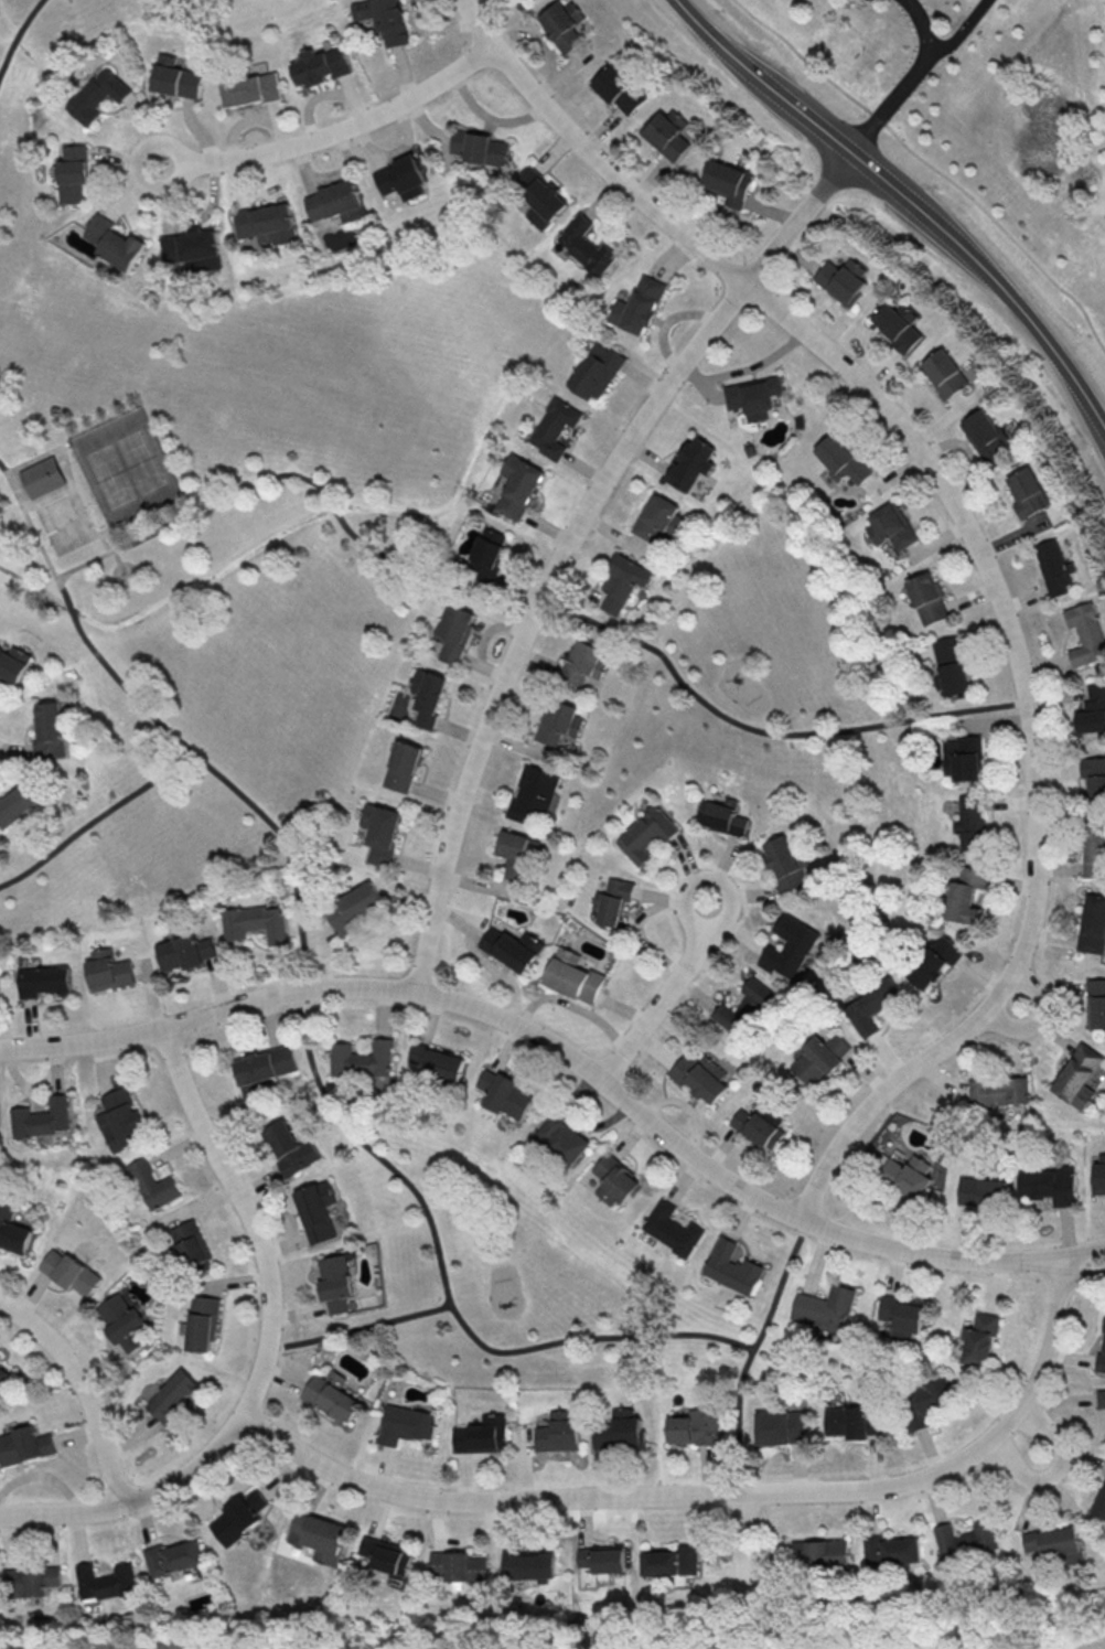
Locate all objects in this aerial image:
parking lot: (872, 0)
building: (384, 18)
building: (561, 24)
road: (958, 30)
road: (19, 35)
building: (322, 68)
road: (905, 79)
building: (176, 81)
building: (248, 89)
building: (619, 92)
building: (98, 95)
road: (333, 132)
building: (667, 133)
building: (481, 150)
road: (930, 164)
building: (73, 172)
building: (403, 181)
building: (728, 184)
building: (539, 196)
road: (904, 199)
building: (336, 205)
building: (267, 223)
building: (114, 242)
building: (584, 245)
building: (192, 251)
building: (844, 281)
building: (637, 306)
building: (899, 326)
building: (596, 371)
building: (946, 373)
building: (754, 398)
building: (555, 427)
building: (988, 440)
building: (844, 461)
building: (691, 465)
park: (131, 473)
building: (47, 481)
building: (519, 488)
building: (1030, 494)
building: (659, 520)
building: (893, 526)
park: (72, 534)
road: (571, 540)
road: (110, 545)
road: (981, 549)
building: (489, 553)
road: (127, 561)
building: (1056, 570)
building: (623, 581)
building: (929, 601)
road: (530, 608)
building: (454, 632)
building: (1087, 635)
building: (13, 663)
building: (584, 665)
building: (952, 666)
park: (387, 682)
building: (428, 696)
building: (1094, 713)
building: (558, 721)
building: (50, 731)
building: (963, 758)
building: (403, 765)
building: (1095, 782)
building: (533, 792)
building: (18, 803)
building: (721, 816)
road: (95, 817)
building: (970, 826)
building: (380, 832)
building: (644, 834)
building: (1095, 848)
building: (516, 854)
building: (785, 868)
building: (965, 895)
building: (611, 900)
building: (354, 907)
building: (256, 922)
building: (1094, 929)
building: (512, 947)
building: (788, 947)
building: (184, 952)
building: (934, 961)
building: (108, 970)
building: (572, 976)
building: (43, 981)
road: (665, 994)
building: (1097, 1003)
building: (870, 1005)
building: (743, 1008)
road: (302, 1016)
road: (1037, 1017)
road: (550, 1041)
building: (818, 1057)
building: (363, 1059)
building: (439, 1061)
building: (266, 1064)
building: (700, 1075)
building: (1079, 1075)
building: (998, 1091)
building: (505, 1093)
building: (41, 1117)
building: (119, 1120)
building: (760, 1125)
building: (562, 1138)
building: (290, 1148)
building: (1099, 1172)
building: (905, 1176)
building: (615, 1180)
building: (152, 1185)
building: (1049, 1185)
building: (981, 1191)
building: (317, 1210)
road: (248, 1216)
building: (673, 1228)
building: (12, 1231)
building: (191, 1246)
road: (1081, 1252)
building: (732, 1266)
building: (69, 1272)
road: (1080, 1272)
building: (335, 1282)
building: (826, 1309)
building: (902, 1315)
building: (121, 1321)
building: (202, 1323)
road: (358, 1327)
building: (978, 1338)
road: (750, 1351)
building: (3, 1378)
road: (82, 1390)
building: (172, 1395)
building: (331, 1395)
building: (1101, 1398)
building: (924, 1401)
building: (854, 1421)
building: (405, 1423)
building: (782, 1426)
building: (695, 1427)
building: (621, 1431)
building: (558, 1433)
building: (481, 1434)
building: (23, 1445)
road: (1026, 1446)
road: (709, 1493)
road: (136, 1499)
building: (1099, 1502)
building: (238, 1517)
building: (318, 1535)
building: (966, 1541)
building: (1053, 1544)
road: (748, 1545)
building: (892, 1550)
building: (822, 1553)
building: (385, 1554)
building: (173, 1557)
building: (601, 1557)
building: (670, 1561)
building: (528, 1564)
building: (459, 1565)
building: (29, 1581)
building: (105, 1581)

